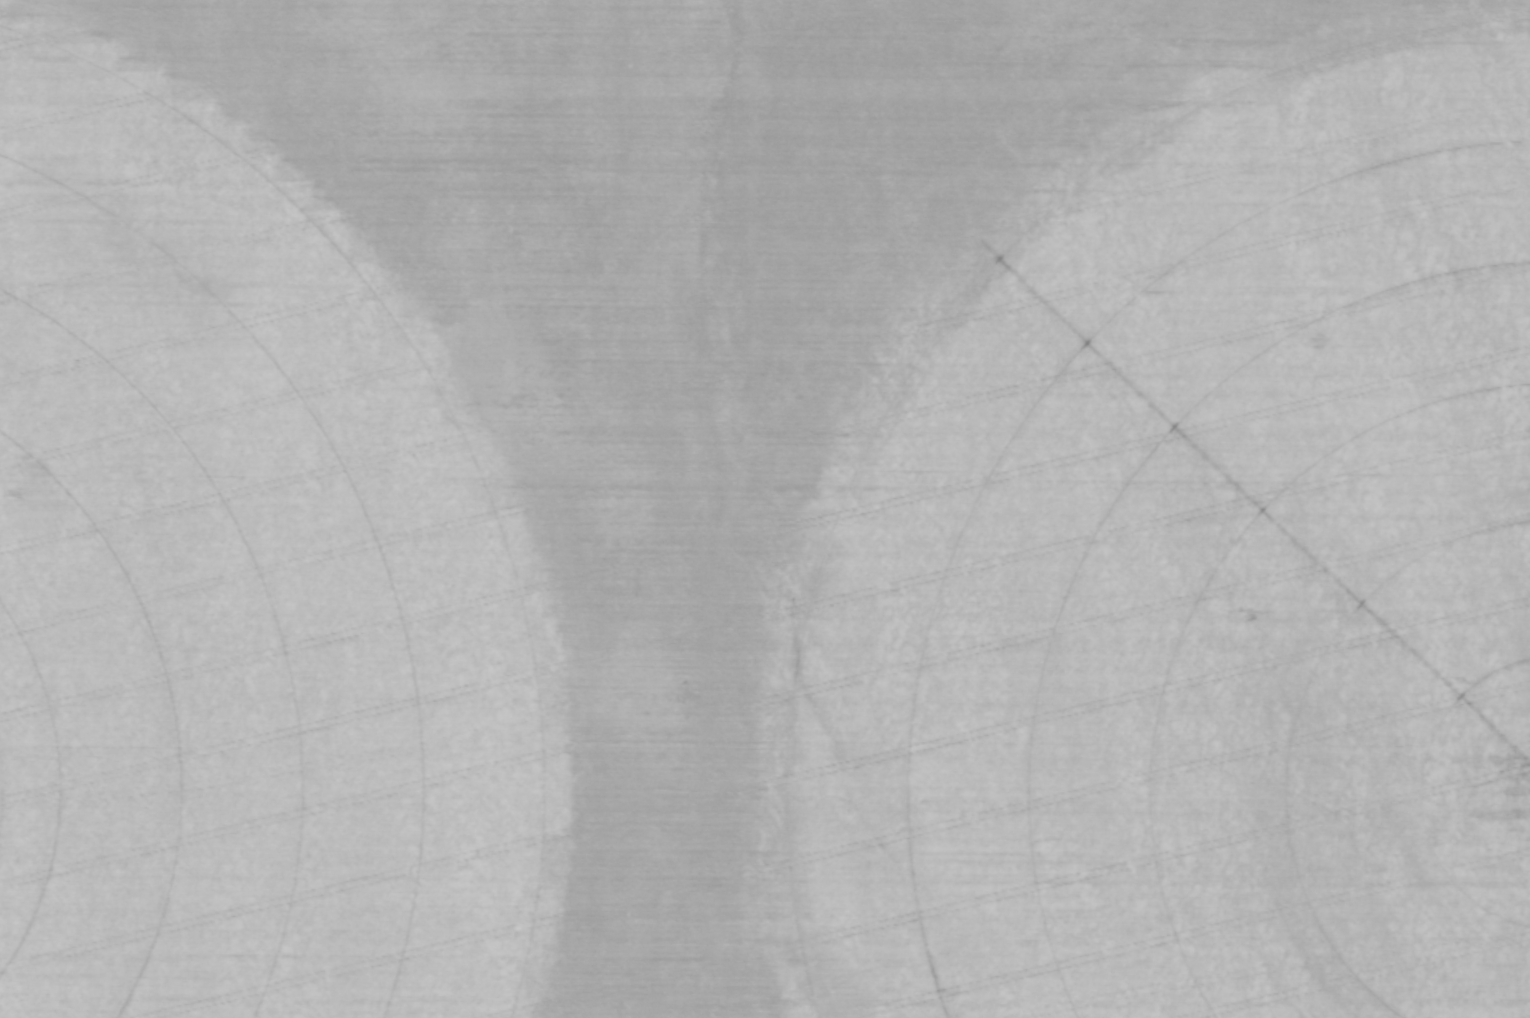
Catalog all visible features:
crop: (765, 509)

